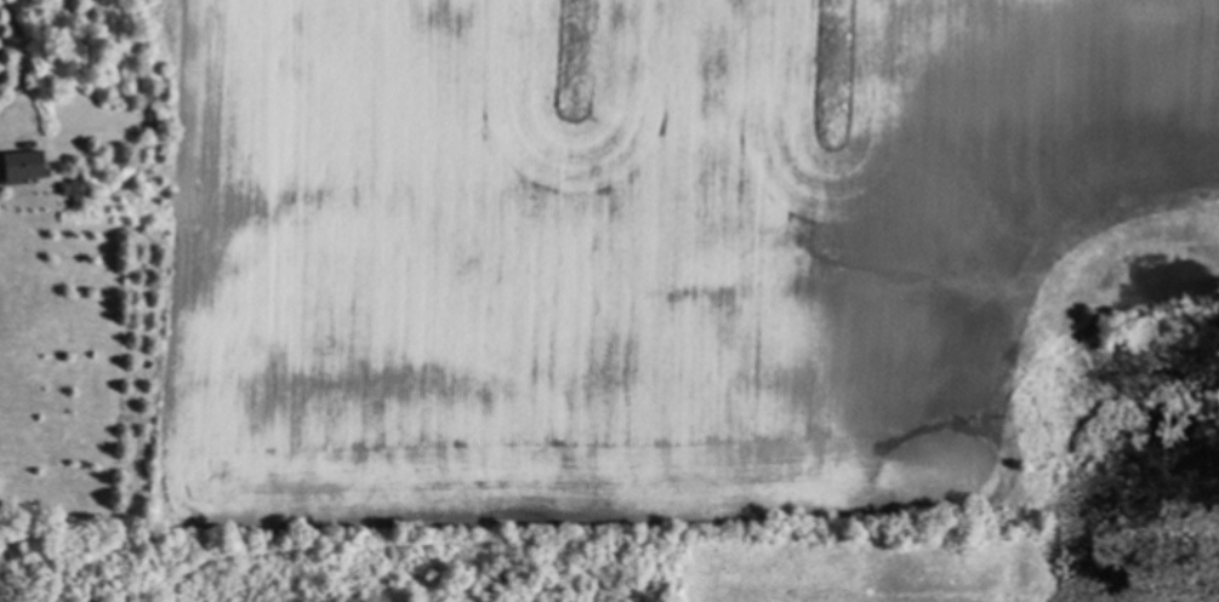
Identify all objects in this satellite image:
building: (21, 166)

